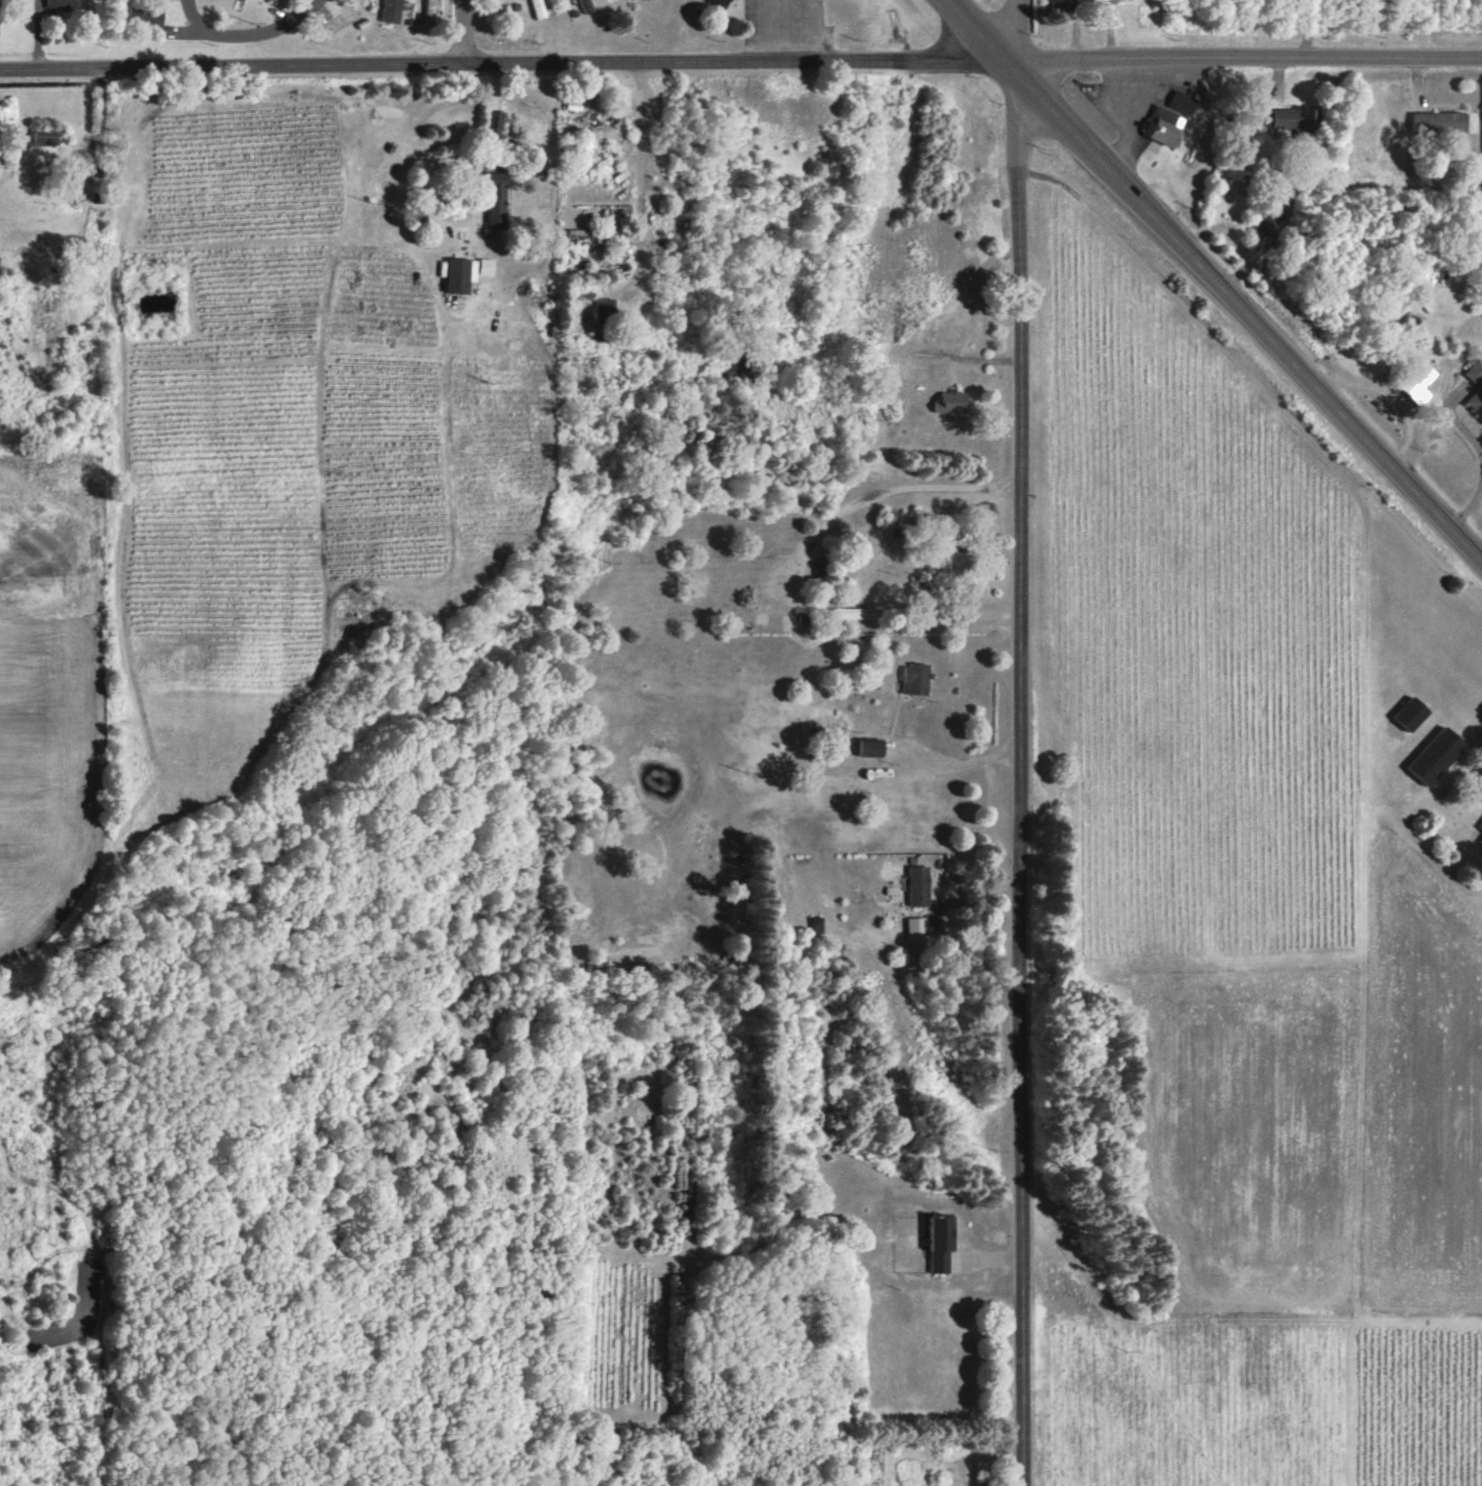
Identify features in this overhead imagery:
building: (279, 0)
building: (62, 3)
building: (721, 3)
building: (1061, 4)
building: (585, 6)
building: (539, 9)
building: (392, 11)
building: (430, 12)
building: (146, 17)
road: (1307, 29)
road: (792, 31)
road: (464, 32)
road: (248, 35)
road: (740, 63)
building: (1182, 101)
road: (1133, 117)
building: (1298, 117)
building: (1440, 121)
building: (1165, 126)
building: (46, 135)
building: (498, 198)
building: (1267, 226)
building: (486, 265)
building: (461, 273)
road: (1215, 279)
building: (605, 310)
building: (1476, 371)
building: (1421, 381)
building: (953, 401)
building: (1476, 401)
road: (1470, 438)
road: (906, 486)
road: (1469, 508)
building: (916, 678)
building: (1413, 712)
road: (1020, 742)
building: (872, 747)
building: (1437, 754)
road: (958, 765)
building: (1480, 824)
building: (1481, 840)
road: (1424, 844)
building: (920, 885)
building: (818, 924)
building: (918, 925)
building: (943, 1242)

